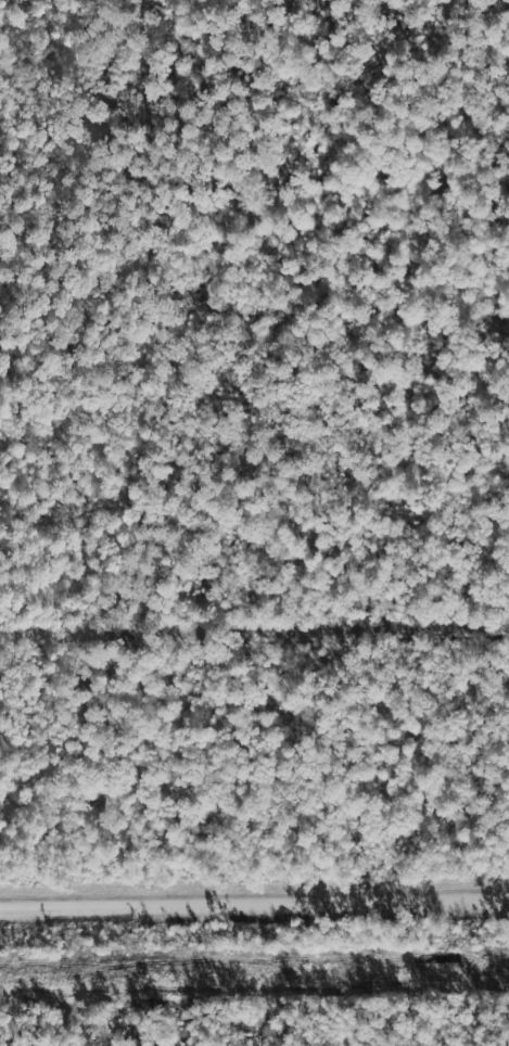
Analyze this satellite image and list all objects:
road: (254, 904)
power tower: (345, 973)

